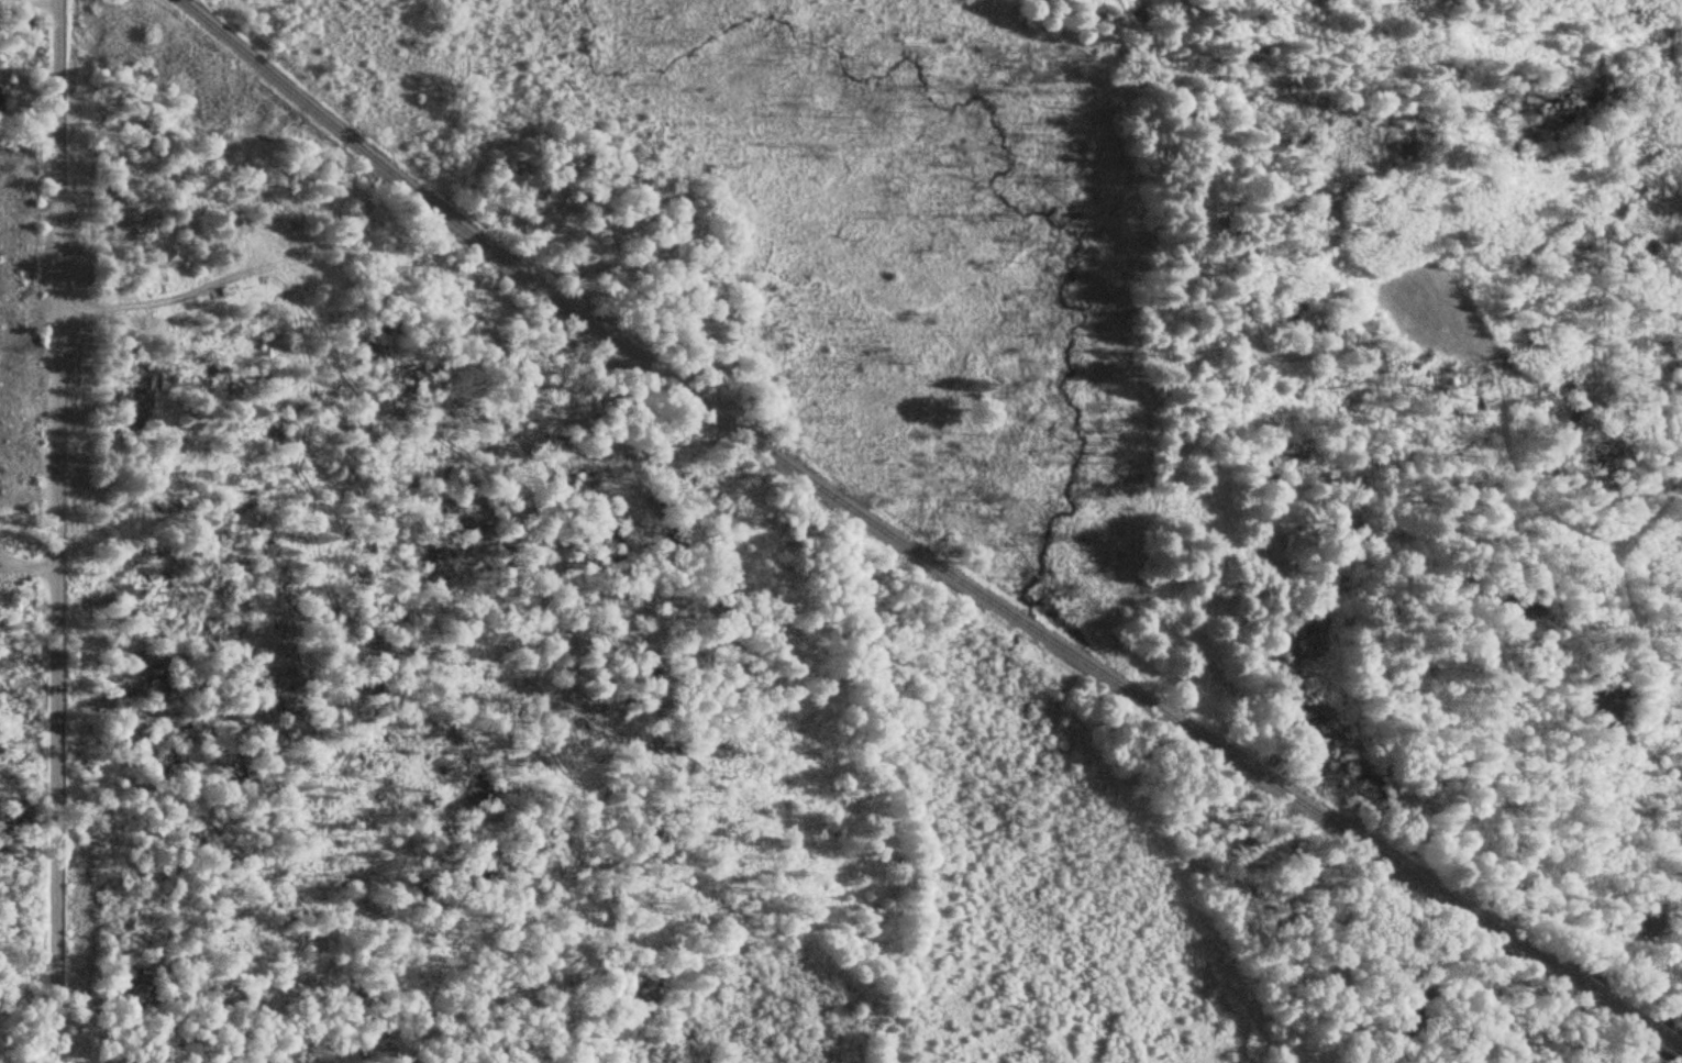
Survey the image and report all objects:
road: (42, 2)
road: (64, 531)
railway: (914, 549)

